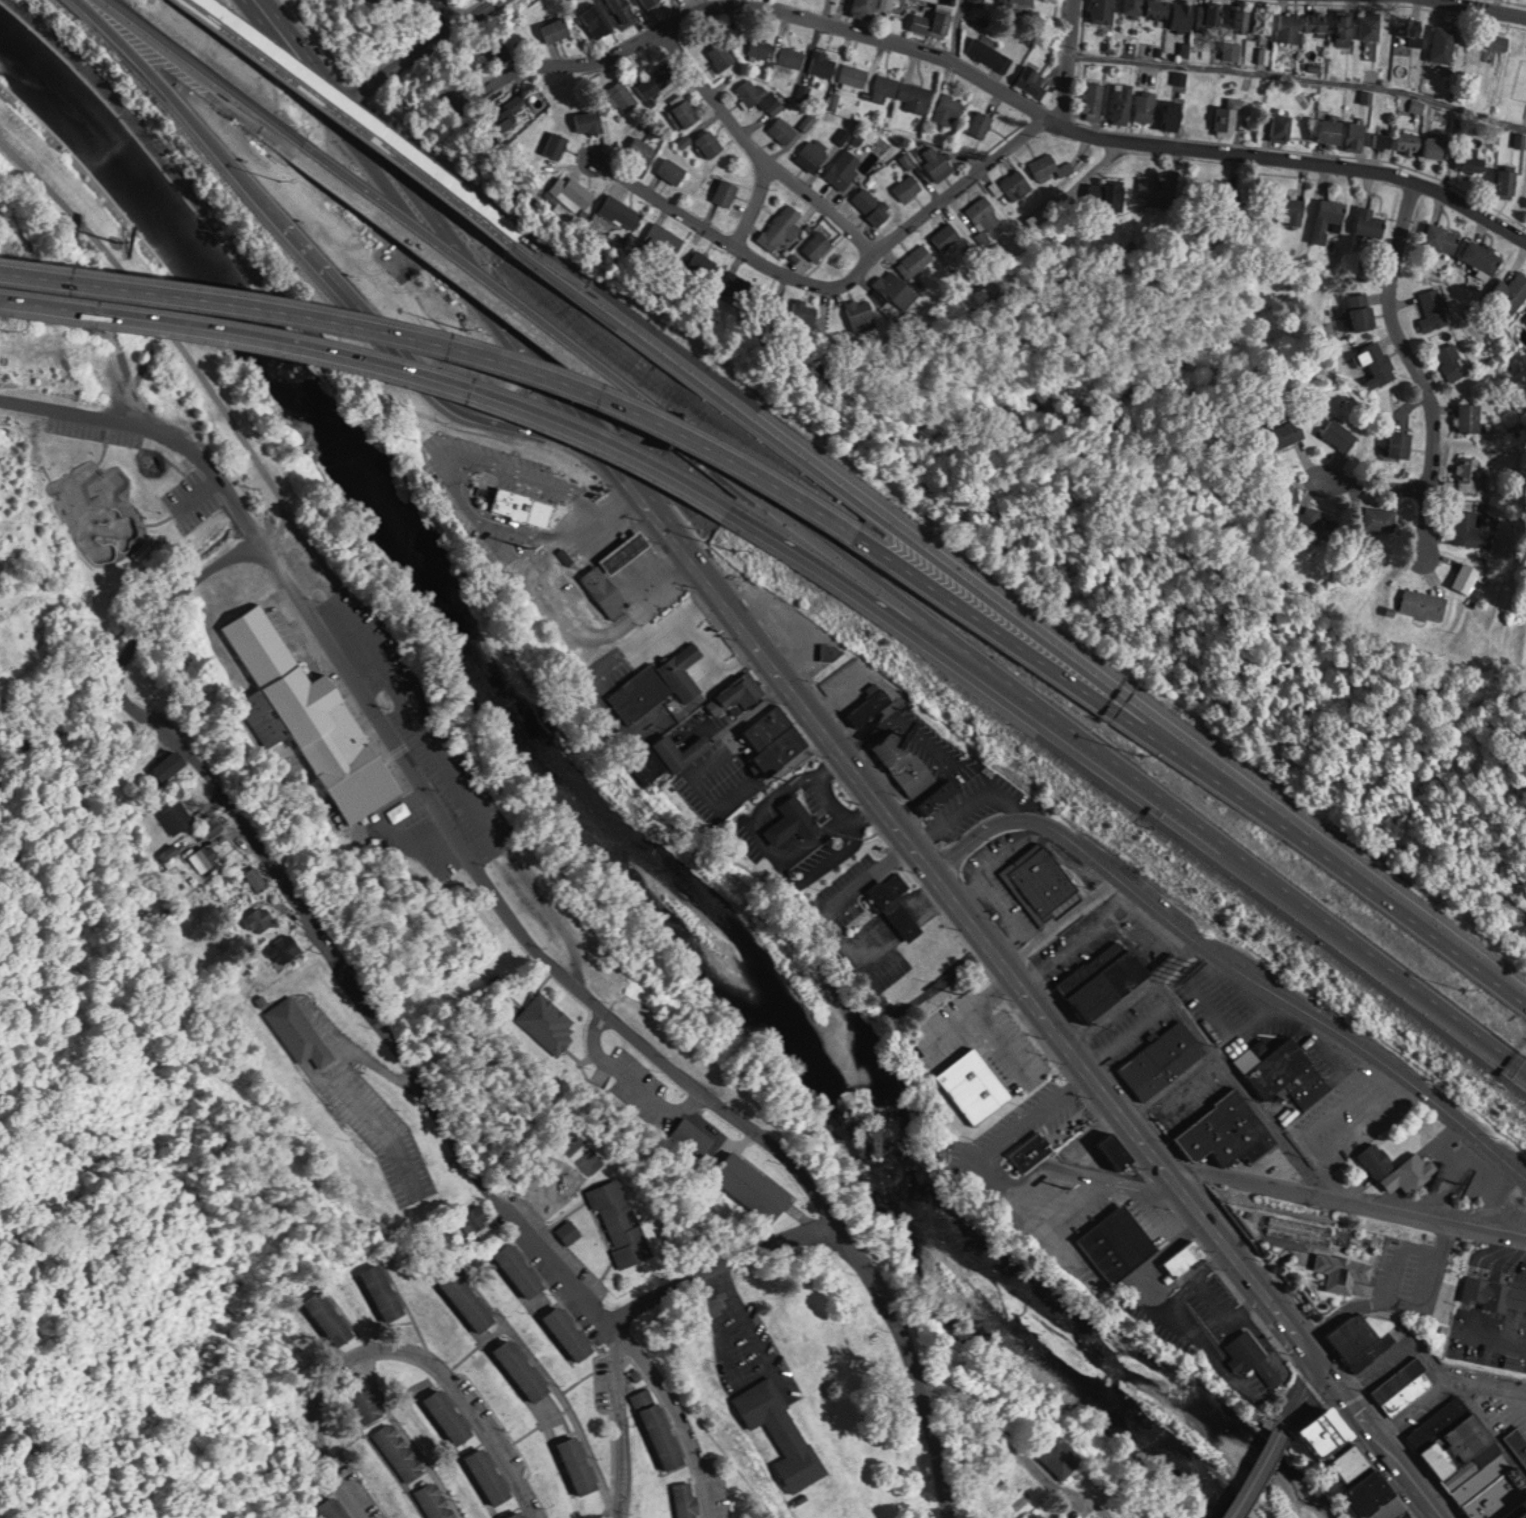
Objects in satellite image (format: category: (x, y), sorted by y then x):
building: (978, 1)
building: (1016, 1)
building: (651, 3)
building: (1134, 6)
building: (868, 7)
road: (446, 8)
building: (1159, 8)
road: (1476, 9)
building: (622, 10)
building: (1103, 11)
road: (830, 12)
building: (1184, 14)
building: (1210, 16)
building: (1243, 18)
building: (1318, 19)
building: (597, 20)
building: (1264, 20)
building: (935, 22)
building: (1370, 24)
building: (1289, 26)
building: (1347, 26)
building: (556, 29)
building: (1410, 30)
building: (1499, 41)
building: (1444, 43)
building: (760, 46)
road: (294, 49)
road: (406, 49)
building: (991, 53)
building: (722, 55)
building: (788, 55)
building: (823, 62)
road: (203, 74)
building: (854, 74)
road: (1298, 78)
road: (995, 86)
building: (885, 87)
building: (622, 95)
building: (760, 95)
building: (915, 96)
building: (1094, 97)
building: (521, 100)
building: (1122, 102)
building: (1146, 106)
building: (947, 109)
building: (686, 111)
building: (1173, 113)
building: (1525, 115)
building: (592, 120)
building: (1226, 120)
road: (362, 123)
building: (981, 123)
building: (1283, 126)
building: (783, 129)
building: (1334, 130)
building: (1358, 134)
building: (1383, 139)
building: (561, 142)
building: (710, 142)
building: (1421, 144)
building: (642, 149)
road: (755, 149)
building: (814, 153)
building: (938, 161)
building: (1470, 161)
building: (1049, 166)
building: (844, 168)
building: (674, 169)
building: (1508, 182)
building: (1016, 183)
building: (908, 186)
building: (1160, 188)
building: (581, 190)
building: (727, 191)
building: (1110, 195)
road: (751, 203)
building: (872, 205)
building: (627, 210)
building: (1292, 210)
building: (984, 213)
building: (1327, 218)
building: (1370, 223)
building: (782, 226)
building: (947, 235)
building: (668, 236)
building: (1444, 240)
road: (880, 242)
building: (818, 244)
building: (1483, 255)
building: (916, 259)
building: (705, 263)
road: (333, 269)
road: (472, 276)
building: (741, 283)
building: (897, 288)
building: (1516, 290)
road: (158, 306)
building: (813, 310)
building: (1362, 310)
building: (1433, 310)
building: (863, 313)
road: (518, 336)
road: (442, 339)
road: (378, 359)
building: (1452, 360)
road: (1411, 363)
building: (1378, 364)
building: (1469, 416)
building: (1339, 432)
building: (1402, 443)
building: (1468, 471)
road: (1373, 483)
building: (524, 505)
park: (86, 507)
road: (881, 507)
park: (102, 508)
building: (1379, 517)
building: (1317, 522)
road: (282, 523)
building: (1469, 529)
building: (627, 550)
road: (831, 552)
building: (1466, 578)
building: (607, 589)
road: (876, 603)
building: (1425, 603)
building: (790, 623)
building: (830, 651)
road: (1036, 651)
building: (685, 670)
building: (640, 692)
building: (736, 697)
building: (870, 703)
building: (311, 716)
building: (774, 739)
building: (684, 750)
building: (906, 761)
building: (170, 764)
road: (426, 785)
road: (1140, 794)
building: (940, 796)
building: (178, 817)
building: (795, 819)
river: (604, 827)
building: (206, 858)
building: (257, 878)
building: (1044, 883)
road: (1372, 893)
building: (894, 908)
road: (302, 911)
building: (286, 949)
road: (1235, 964)
building: (1107, 978)
road: (1392, 987)
road: (1134, 994)
building: (547, 1023)
building: (300, 1031)
road: (1071, 1046)
building: (1163, 1059)
building: (1284, 1071)
road: (1172, 1084)
road: (1242, 1087)
building: (1229, 1130)
building: (689, 1137)
building: (1033, 1150)
building: (1119, 1151)
building: (1378, 1158)
building: (1413, 1172)
building: (755, 1186)
road: (1344, 1201)
building: (475, 1218)
building: (623, 1222)
building: (570, 1230)
building: (1119, 1243)
building: (1187, 1258)
road: (719, 1261)
building: (1346, 1270)
building: (520, 1271)
building: (384, 1290)
road: (1386, 1293)
building: (1494, 1294)
building: (468, 1299)
building: (329, 1316)
building: (571, 1331)
building: (1364, 1337)
road: (398, 1349)
building: (1255, 1357)
road: (917, 1363)
road: (1377, 1366)
building: (526, 1369)
road: (1462, 1379)
building: (1404, 1386)
road: (1302, 1398)
building: (369, 1405)
road: (1416, 1409)
road: (677, 1410)
building: (452, 1416)
road: (623, 1418)
building: (782, 1431)
building: (667, 1435)
building: (1344, 1443)
road: (1018, 1449)
building: (398, 1451)
building: (1064, 1456)
building: (1476, 1459)
building: (581, 1463)
road: (1258, 1474)
building: (491, 1475)
building: (1383, 1498)
building: (686, 1500)
building: (435, 1501)
building: (334, 1510)
building: (519, 1515)
building: (1042, 1515)

